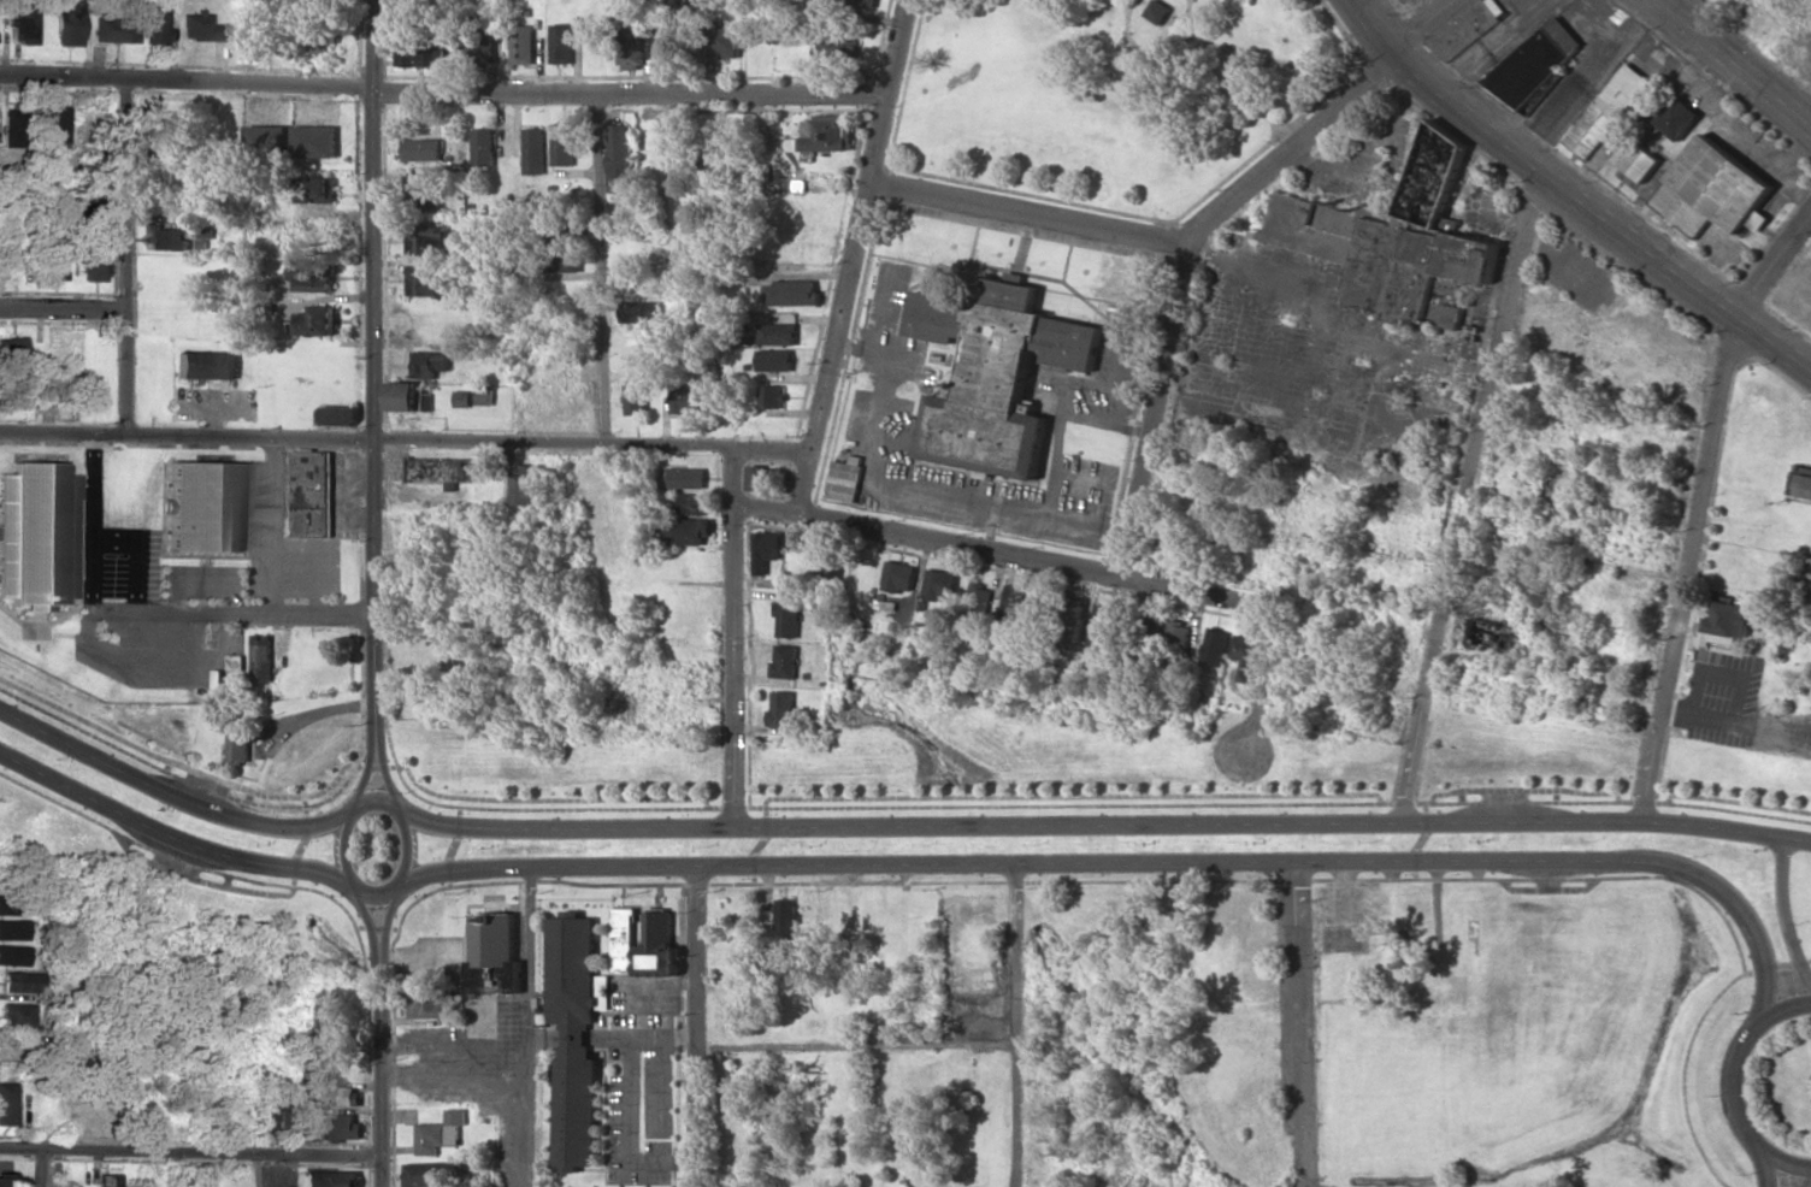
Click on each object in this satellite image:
building: (860, 1)
building: (1158, 11)
building: (67, 22)
building: (23, 24)
building: (155, 25)
building: (202, 26)
building: (1467, 29)
building: (116, 30)
building: (315, 39)
building: (722, 42)
building: (560, 43)
building: (660, 43)
building: (521, 45)
building: (838, 46)
building: (631, 48)
building: (415, 52)
building: (1535, 63)
road: (1734, 63)
park: (1114, 90)
road: (442, 91)
building: (1608, 111)
building: (1679, 118)
building: (53, 125)
road: (1323, 125)
building: (11, 128)
building: (154, 134)
building: (822, 134)
building: (266, 140)
building: (314, 141)
building: (482, 147)
building: (562, 147)
building: (420, 150)
building: (532, 152)
building: (618, 158)
building: (1641, 163)
building: (317, 190)
building: (1713, 190)
road: (1574, 195)
building: (425, 196)
road: (1030, 213)
building: (312, 234)
building: (166, 238)
building: (429, 242)
building: (1397, 242)
road: (856, 256)
road: (122, 258)
building: (92, 260)
building: (560, 261)
road: (1774, 266)
road: (603, 271)
building: (308, 274)
building: (425, 284)
building: (792, 294)
road: (60, 306)
building: (641, 312)
building: (315, 321)
building: (777, 333)
building: (11, 350)
building: (774, 360)
road: (376, 362)
building: (427, 364)
building: (206, 365)
building: (995, 376)
building: (484, 396)
building: (408, 397)
building: (636, 397)
building: (772, 397)
building: (461, 398)
building: (689, 400)
road: (1156, 412)
building: (338, 415)
road: (406, 441)
building: (441, 470)
building: (686, 478)
building: (757, 478)
building: (846, 479)
building: (1800, 483)
building: (520, 485)
building: (312, 492)
road: (1470, 497)
building: (690, 504)
building: (205, 507)
building: (688, 531)
building: (37, 535)
building: (766, 550)
building: (830, 561)
road: (1074, 567)
road: (1689, 568)
building: (899, 577)
building: (940, 585)
building: (979, 602)
building: (1011, 606)
building: (1040, 609)
building: (1072, 609)
road: (220, 616)
building: (787, 619)
building: (1730, 619)
building: (1103, 627)
building: (1486, 634)
building: (1178, 636)
road: (733, 638)
building: (1214, 646)
building: (260, 657)
building: (1244, 657)
building: (234, 662)
building: (784, 662)
building: (780, 709)
building: (236, 738)
road: (382, 766)
road: (368, 768)
road: (172, 795)
road: (884, 798)
road: (355, 807)
road: (1101, 826)
road: (170, 838)
road: (1134, 863)
building: (13, 904)
road: (1786, 910)
building: (786, 919)
road: (368, 926)
road: (385, 928)
building: (13, 929)
building: (623, 940)
building: (657, 945)
building: (495, 955)
building: (13, 956)
building: (19, 982)
building: (427, 1004)
building: (16, 1016)
road: (1298, 1023)
road: (698, 1026)
road: (1016, 1026)
road: (532, 1027)
building: (576, 1037)
building: (336, 1043)
road: (859, 1046)
road: (1736, 1061)
road: (378, 1076)
building: (340, 1096)
building: (7, 1103)
building: (276, 1115)
building: (338, 1128)
building: (438, 1133)
road: (189, 1151)
road: (1786, 1164)
road: (42, 1168)
road: (1768, 1169)
building: (426, 1175)
building: (329, 1179)
building: (107, 1180)
building: (10, 1181)
road: (1810, 1186)

